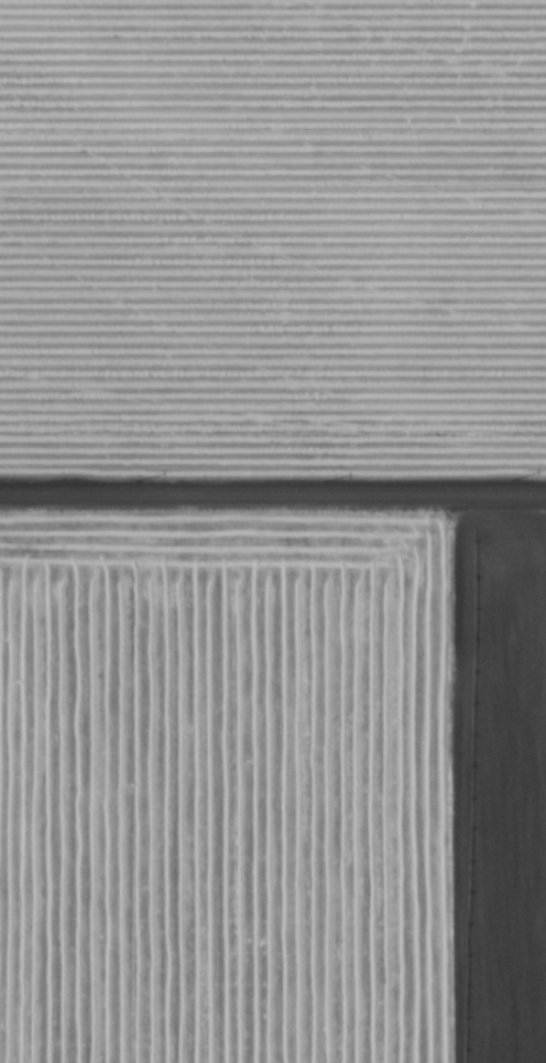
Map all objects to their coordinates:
crop: (272, 246)
road: (273, 492)
crop: (503, 793)
crop: (230, 799)

